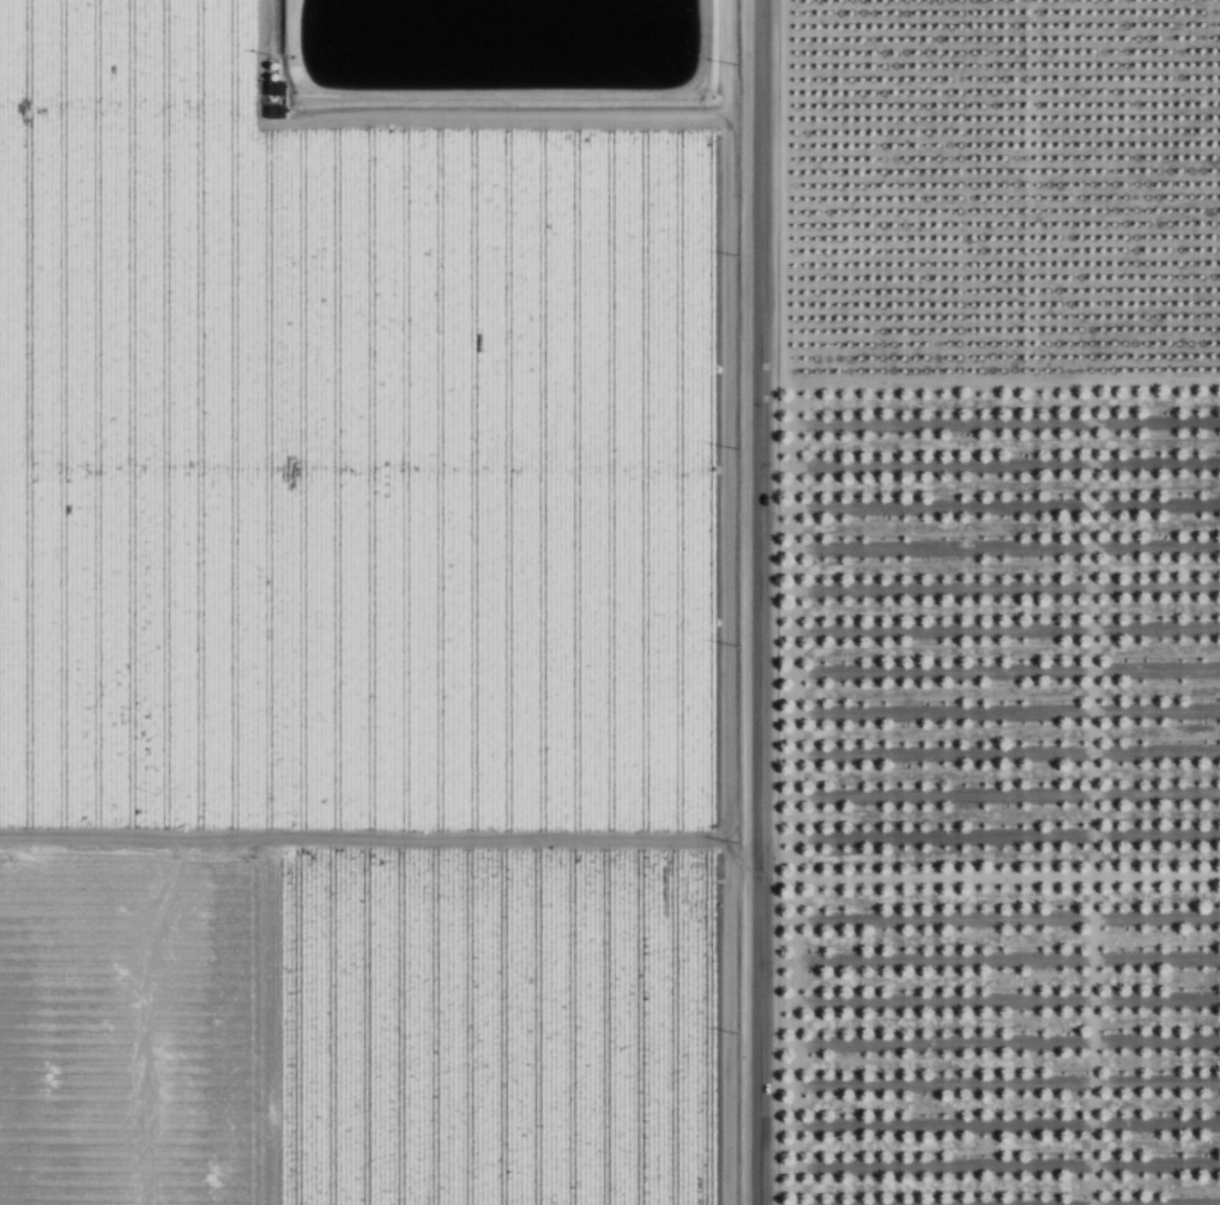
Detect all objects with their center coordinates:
road: (429, 111)
road: (363, 459)
crop: (372, 601)
road: (726, 602)
road: (760, 602)
road: (363, 840)

